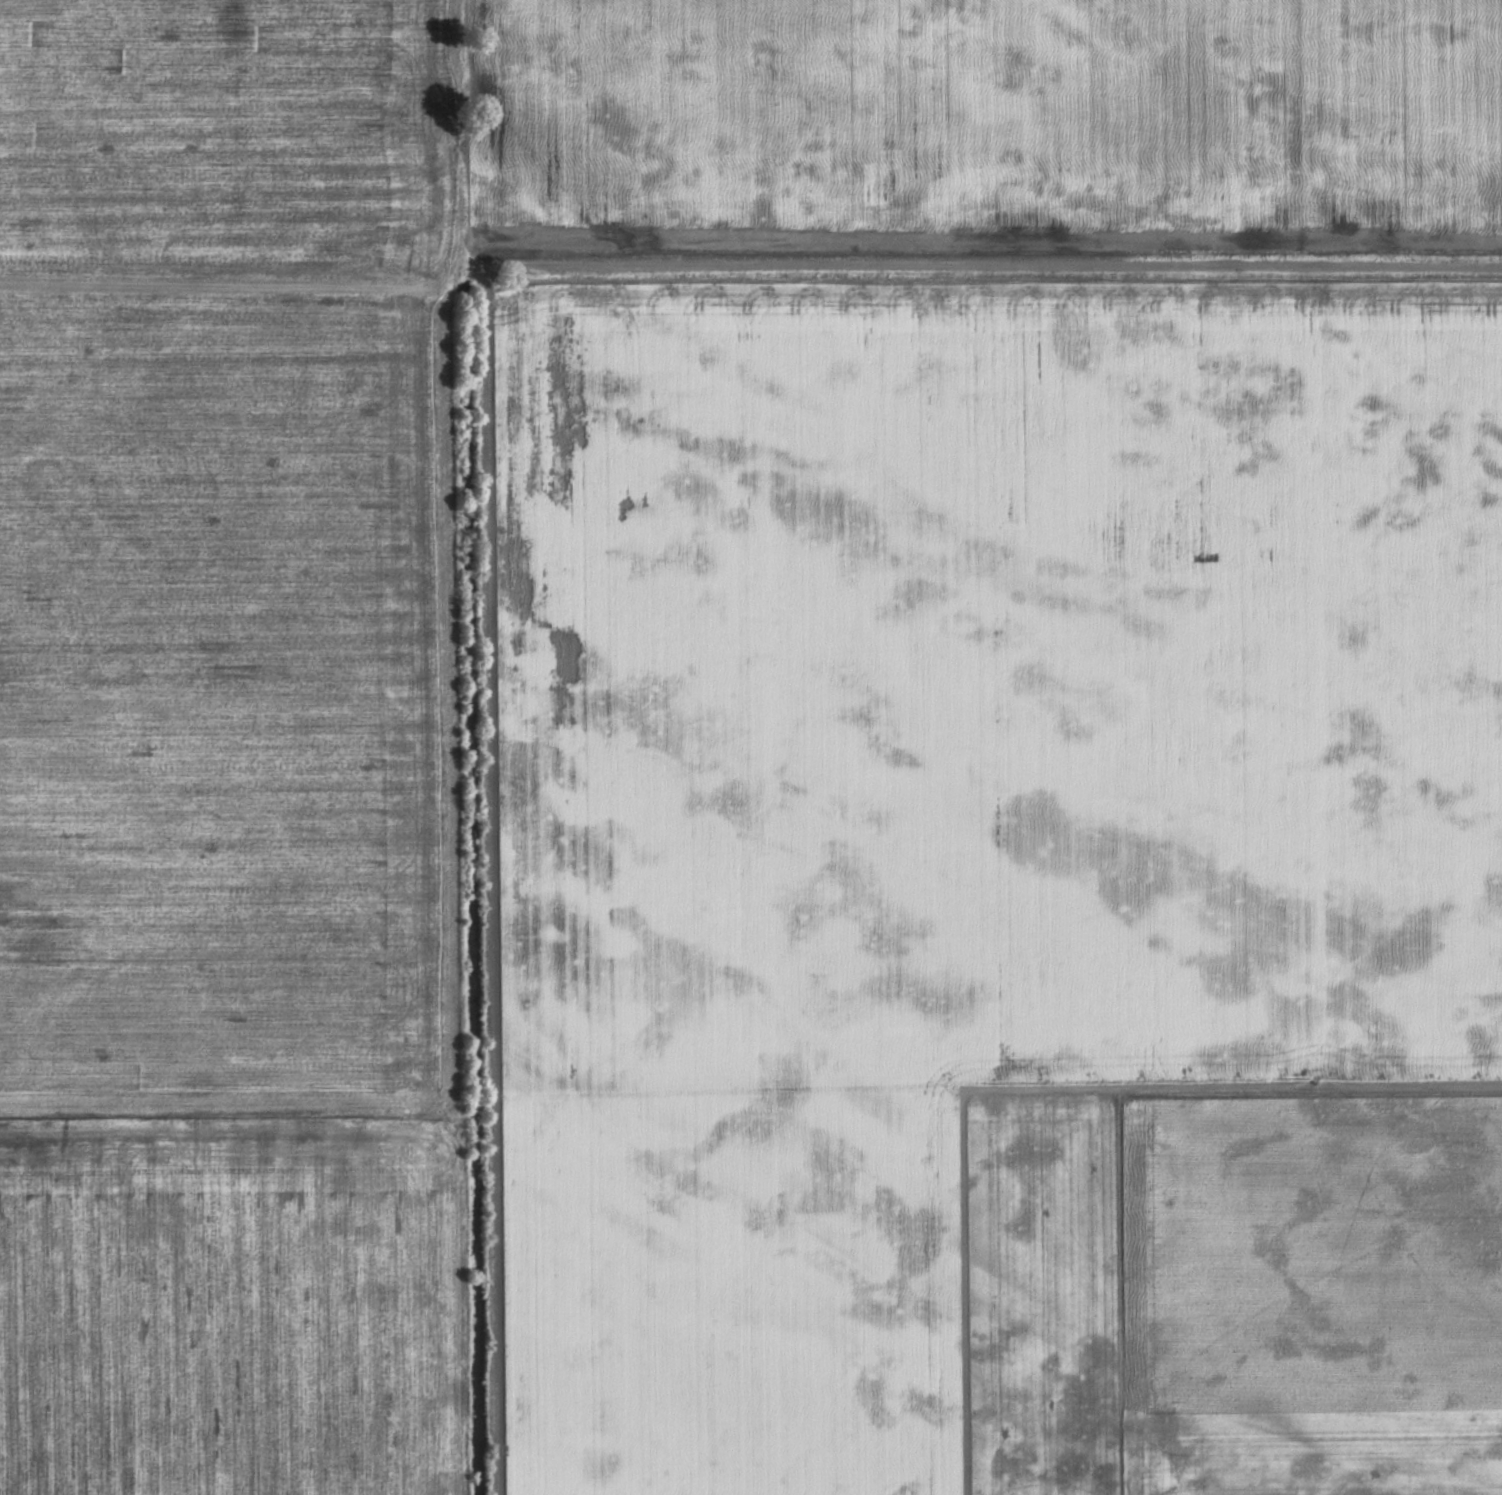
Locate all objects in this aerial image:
road: (918, 84)
road: (750, 269)

